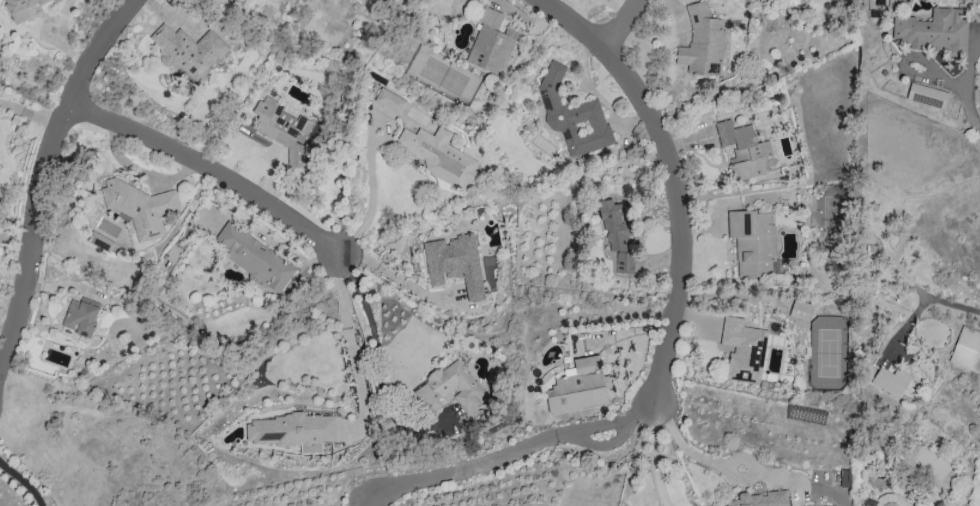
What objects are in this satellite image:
building: (22, 9)
road: (623, 24)
building: (933, 31)
building: (491, 42)
building: (702, 43)
building: (188, 50)
road: (912, 54)
road: (963, 84)
building: (927, 96)
building: (390, 101)
building: (573, 116)
building: (282, 129)
building: (744, 150)
building: (440, 157)
road: (211, 171)
road: (46, 175)
road: (674, 179)
road: (372, 192)
building: (140, 207)
building: (614, 223)
building: (753, 243)
building: (254, 258)
building: (624, 262)
building: (455, 263)
road: (395, 279)
road: (925, 302)
building: (801, 310)
building: (80, 317)
road: (349, 346)
building: (744, 349)
building: (967, 349)
building: (890, 381)
building: (578, 387)
building: (449, 388)
road: (607, 425)
building: (290, 430)
road: (691, 450)
road: (653, 457)
road: (461, 465)
road: (19, 487)
building: (760, 499)
building: (886, 500)

